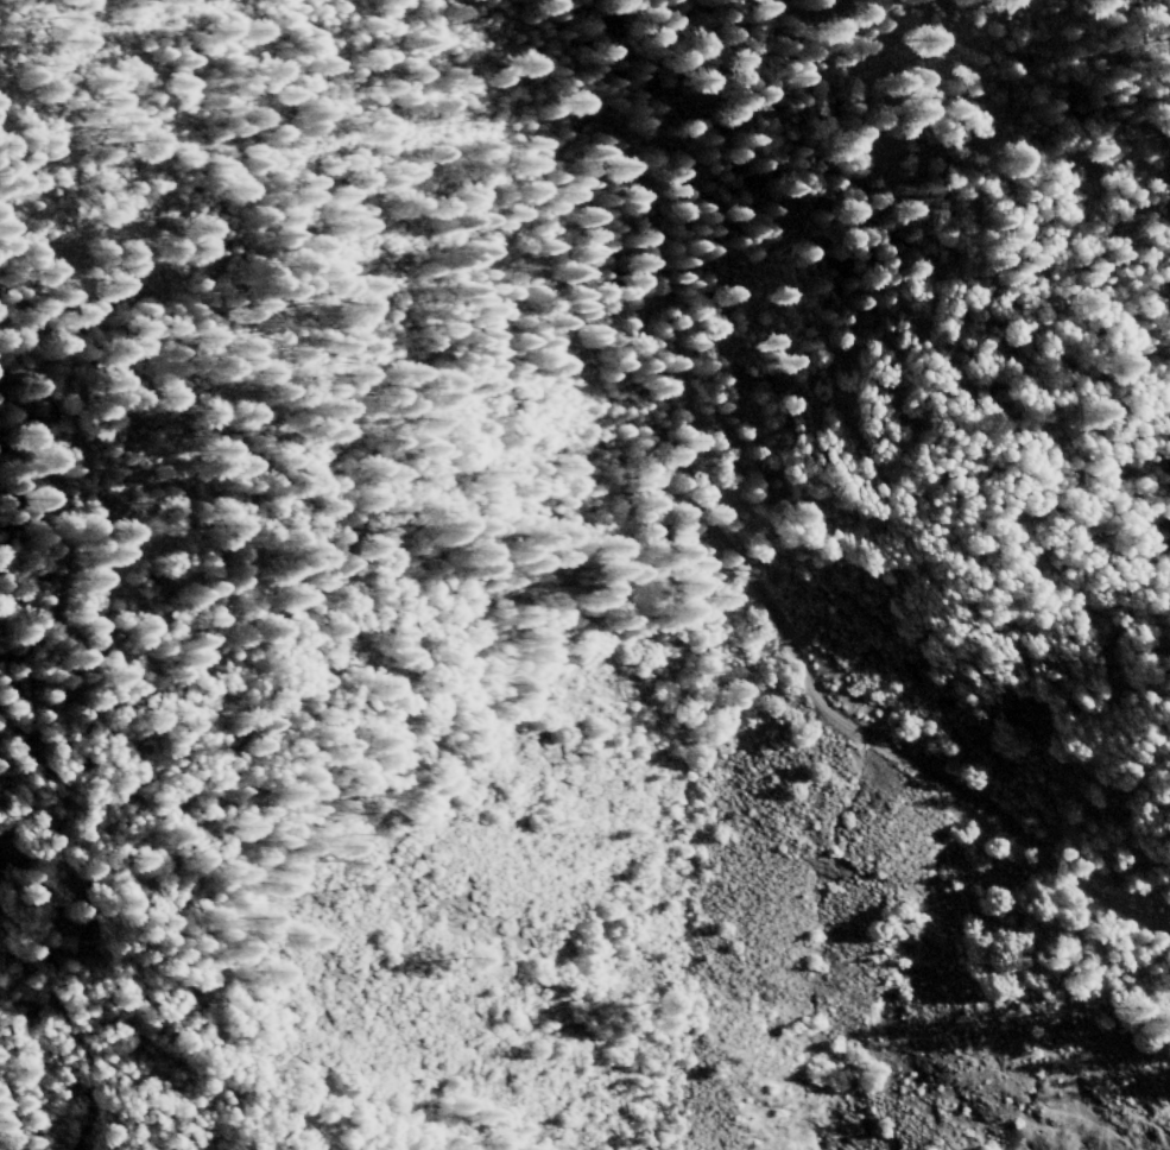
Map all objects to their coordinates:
road: (568, 134)

